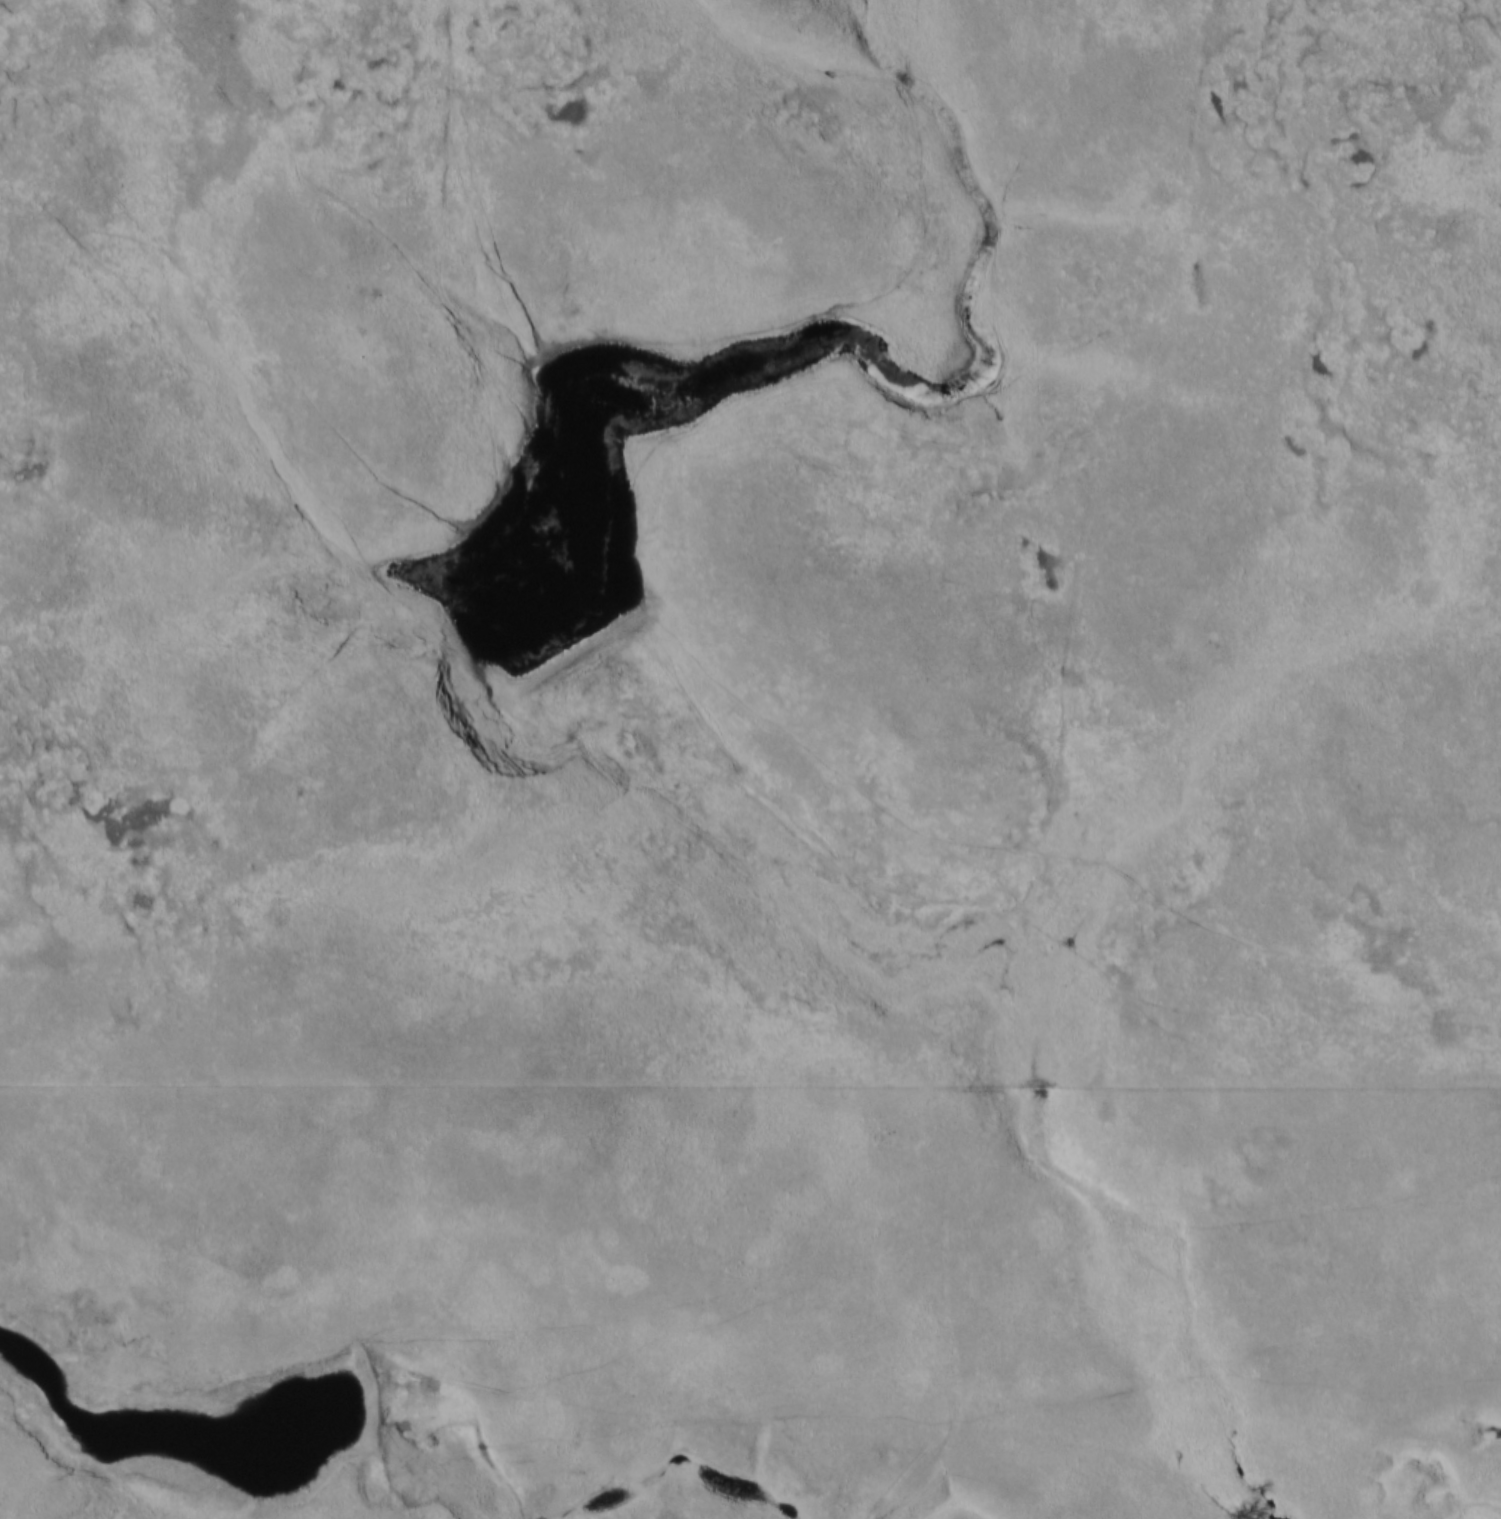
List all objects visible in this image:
dam: (581, 630)

